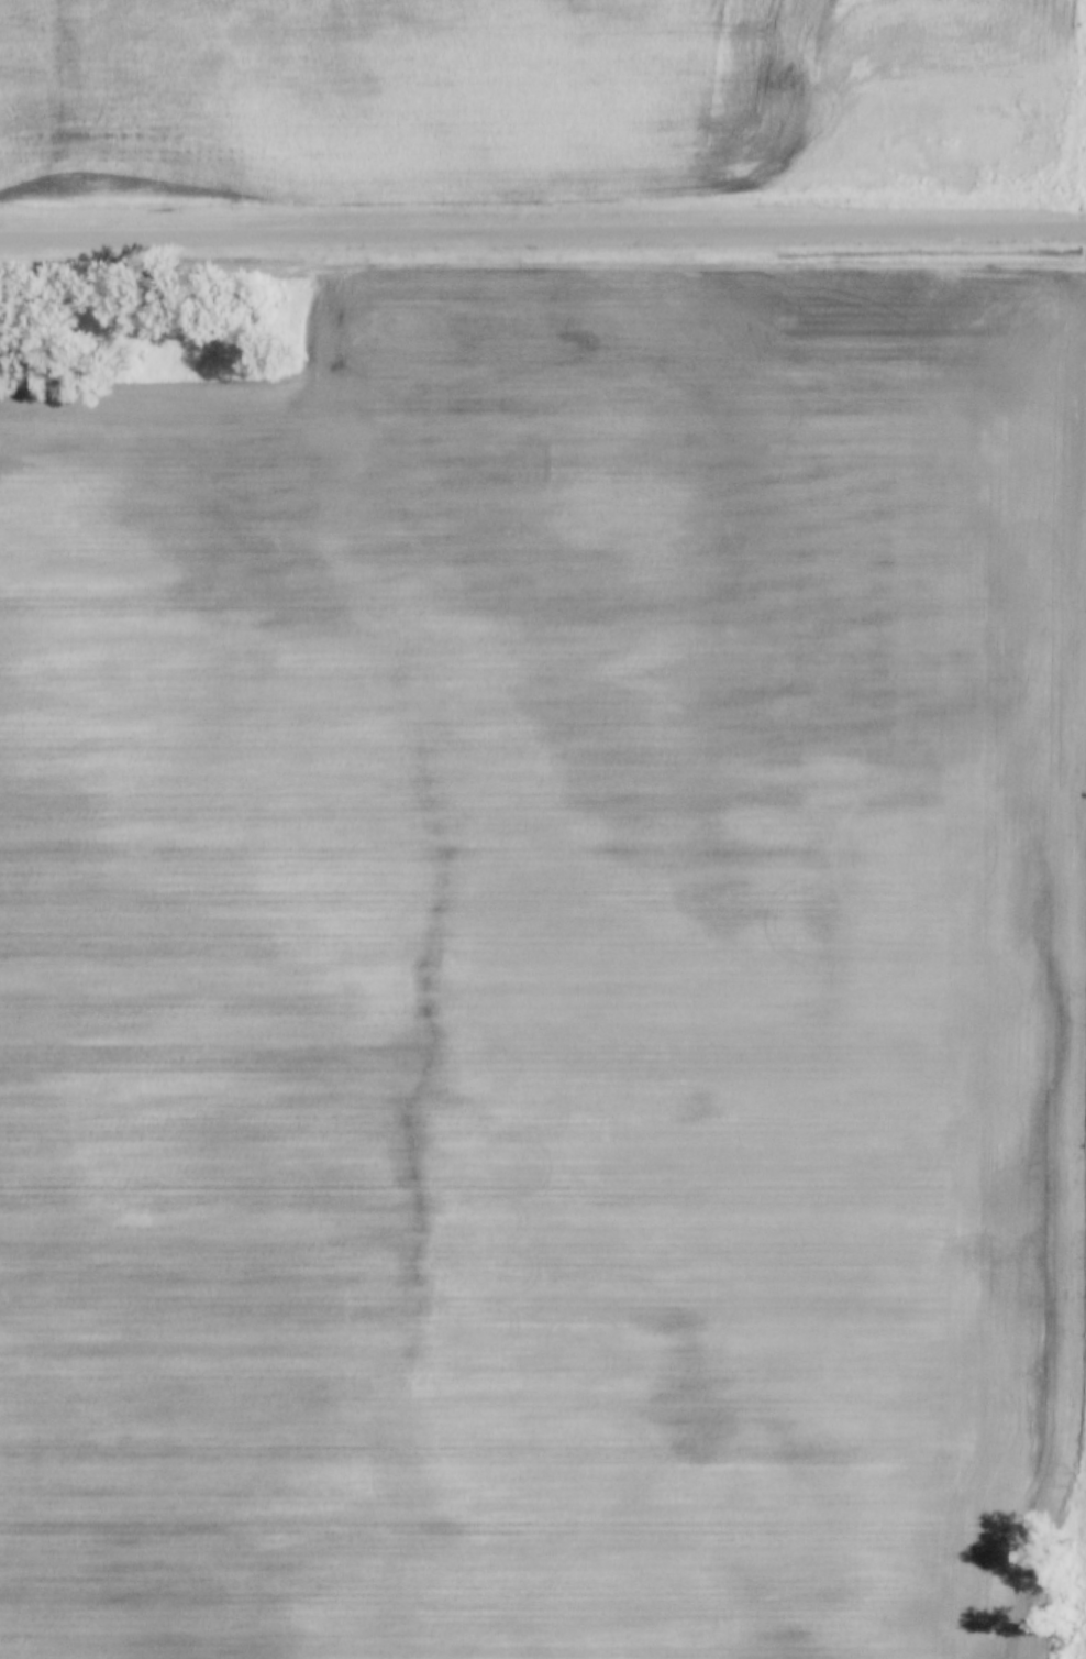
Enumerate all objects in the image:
road: (542, 235)

